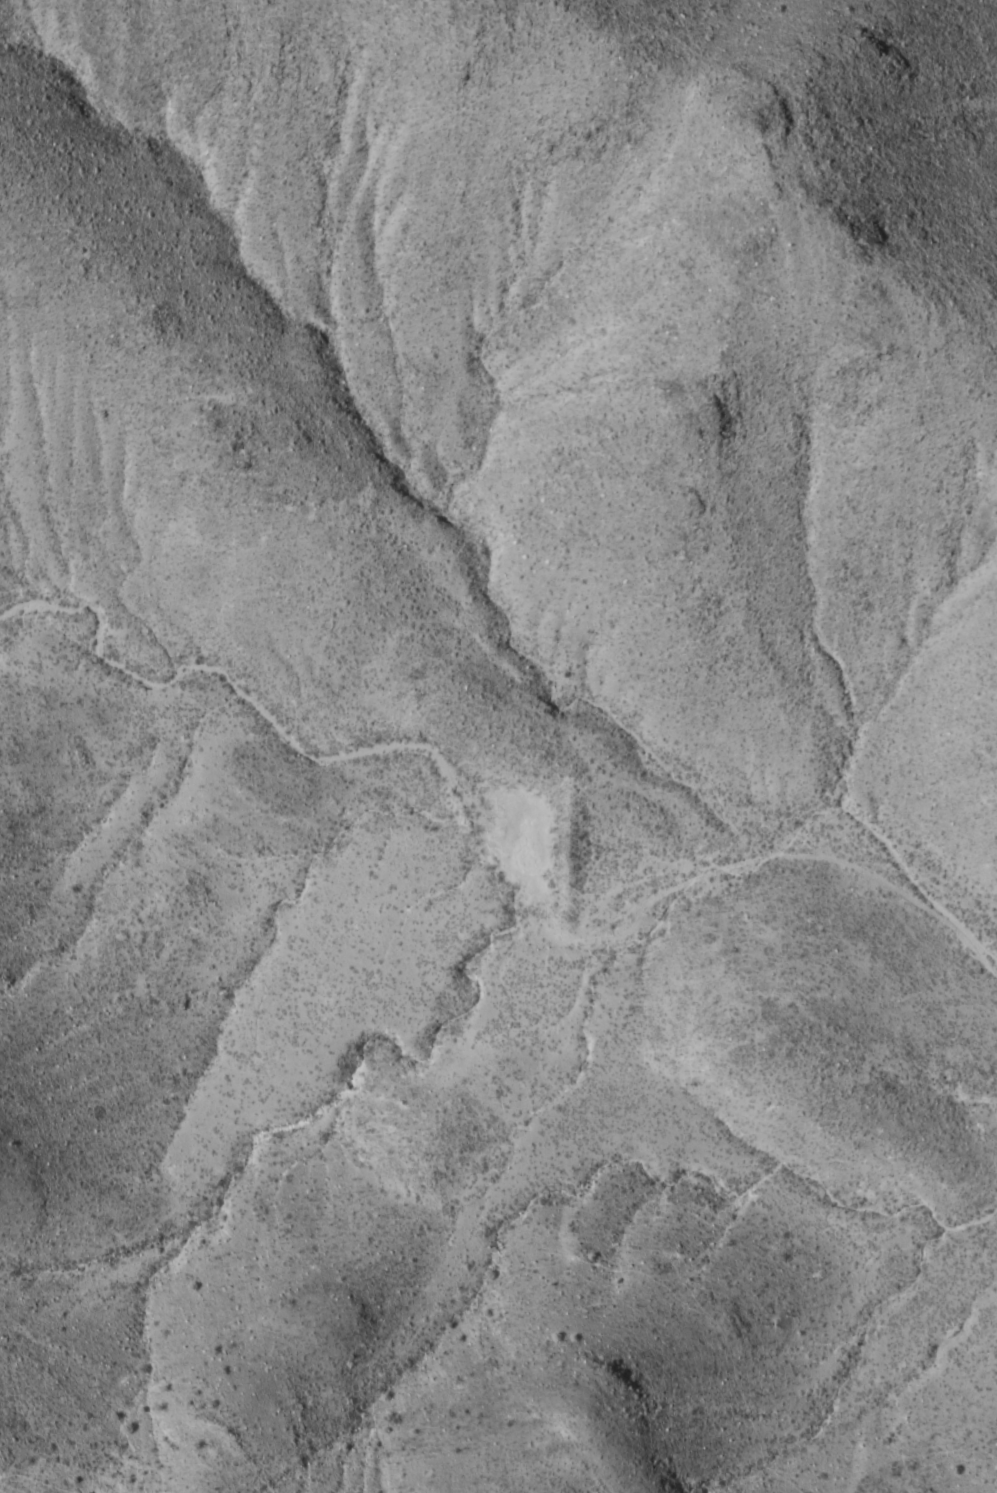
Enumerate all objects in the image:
road: (906, 897)
road: (984, 1098)

